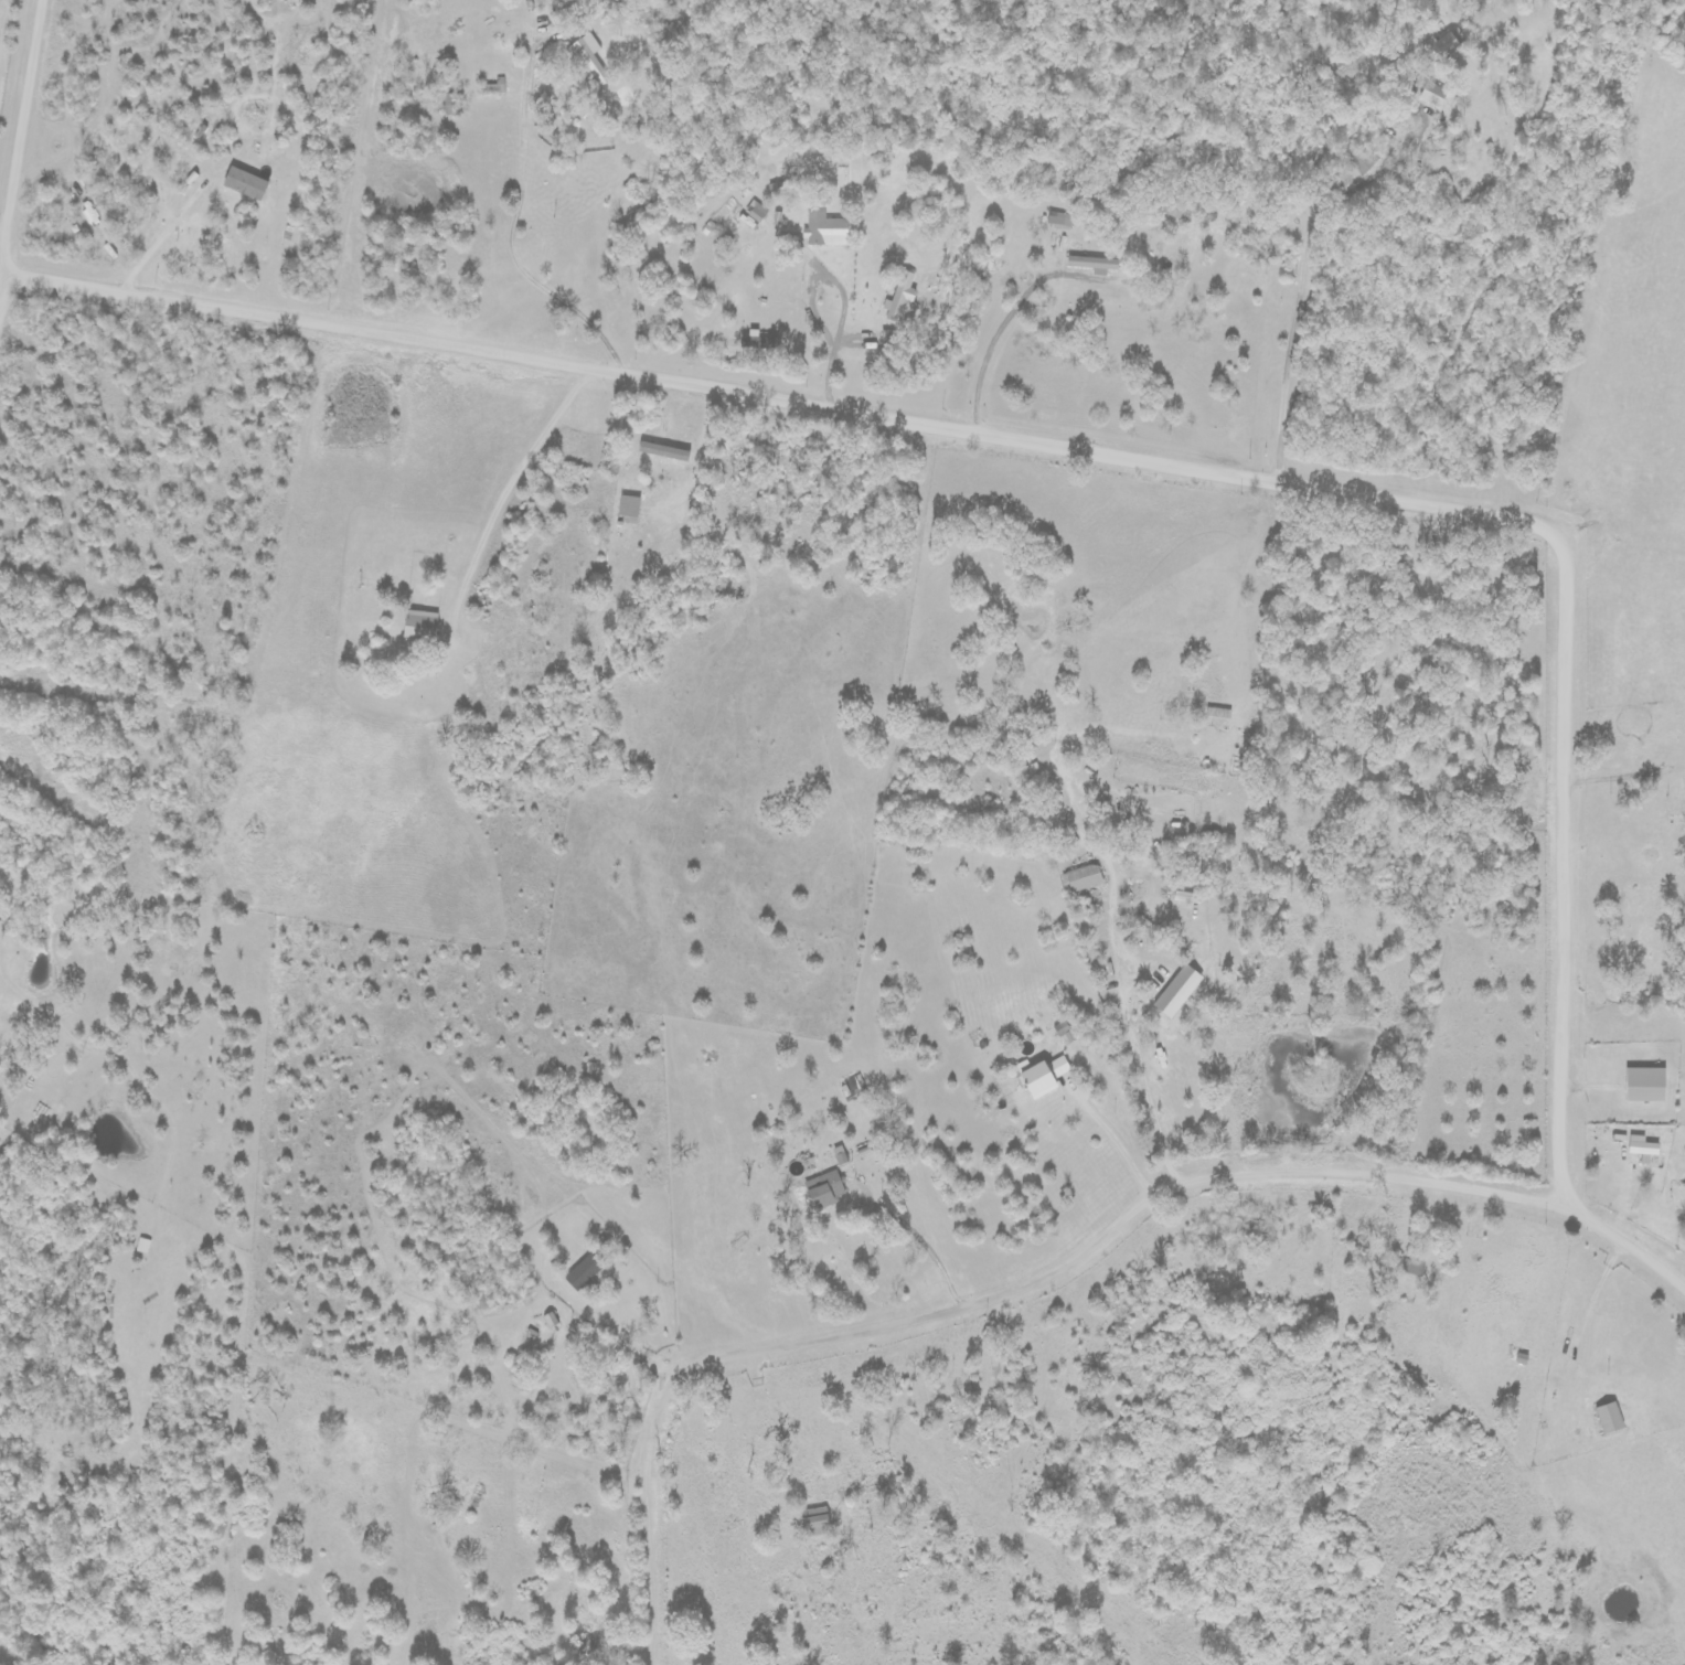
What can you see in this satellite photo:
building: (1444, 49)
building: (589, 60)
building: (1432, 95)
road: (24, 162)
building: (244, 184)
building: (756, 212)
building: (1059, 221)
building: (823, 228)
building: (1092, 265)
road: (1565, 265)
building: (898, 299)
road: (1179, 463)
building: (628, 506)
building: (419, 625)
building: (1083, 878)
building: (1176, 991)
building: (1043, 1077)
building: (1644, 1085)
building: (1643, 1151)
building: (820, 1196)
building: (1412, 1268)
building: (583, 1272)
road: (1002, 1294)
building: (1608, 1418)
building: (814, 1522)

